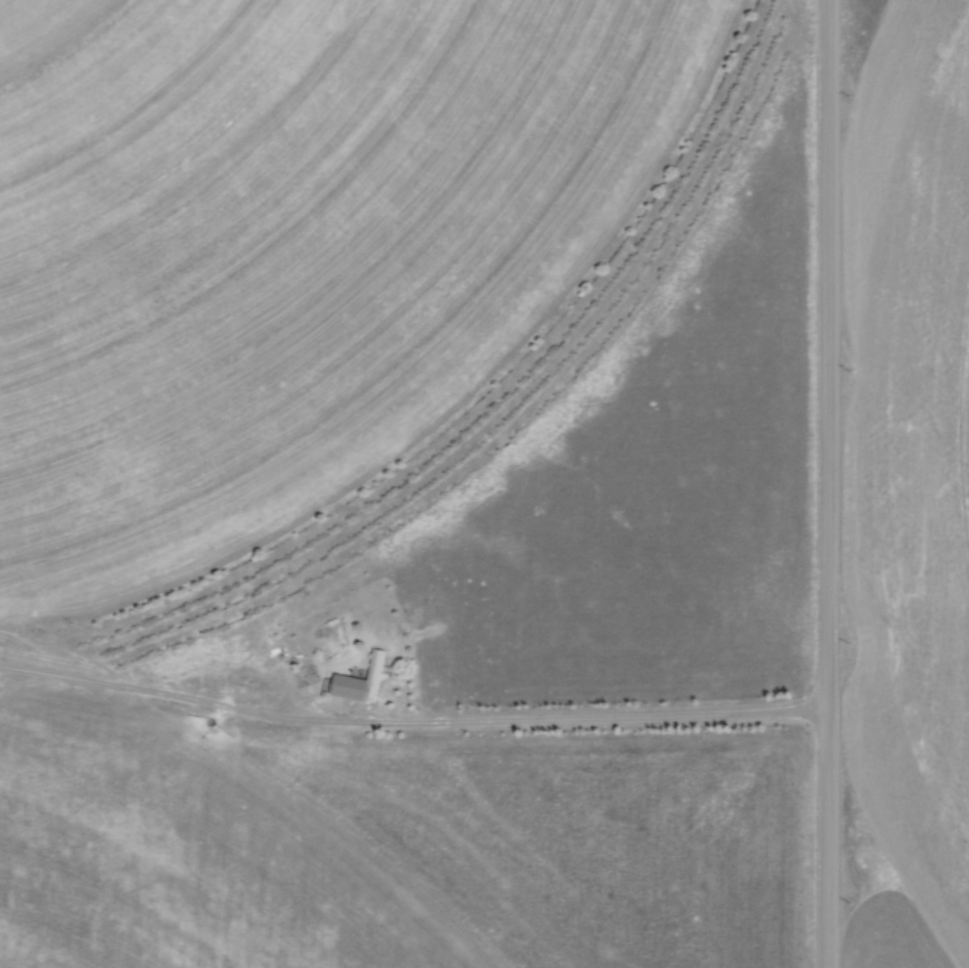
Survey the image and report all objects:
road: (832, 484)
building: (347, 686)
road: (600, 722)

